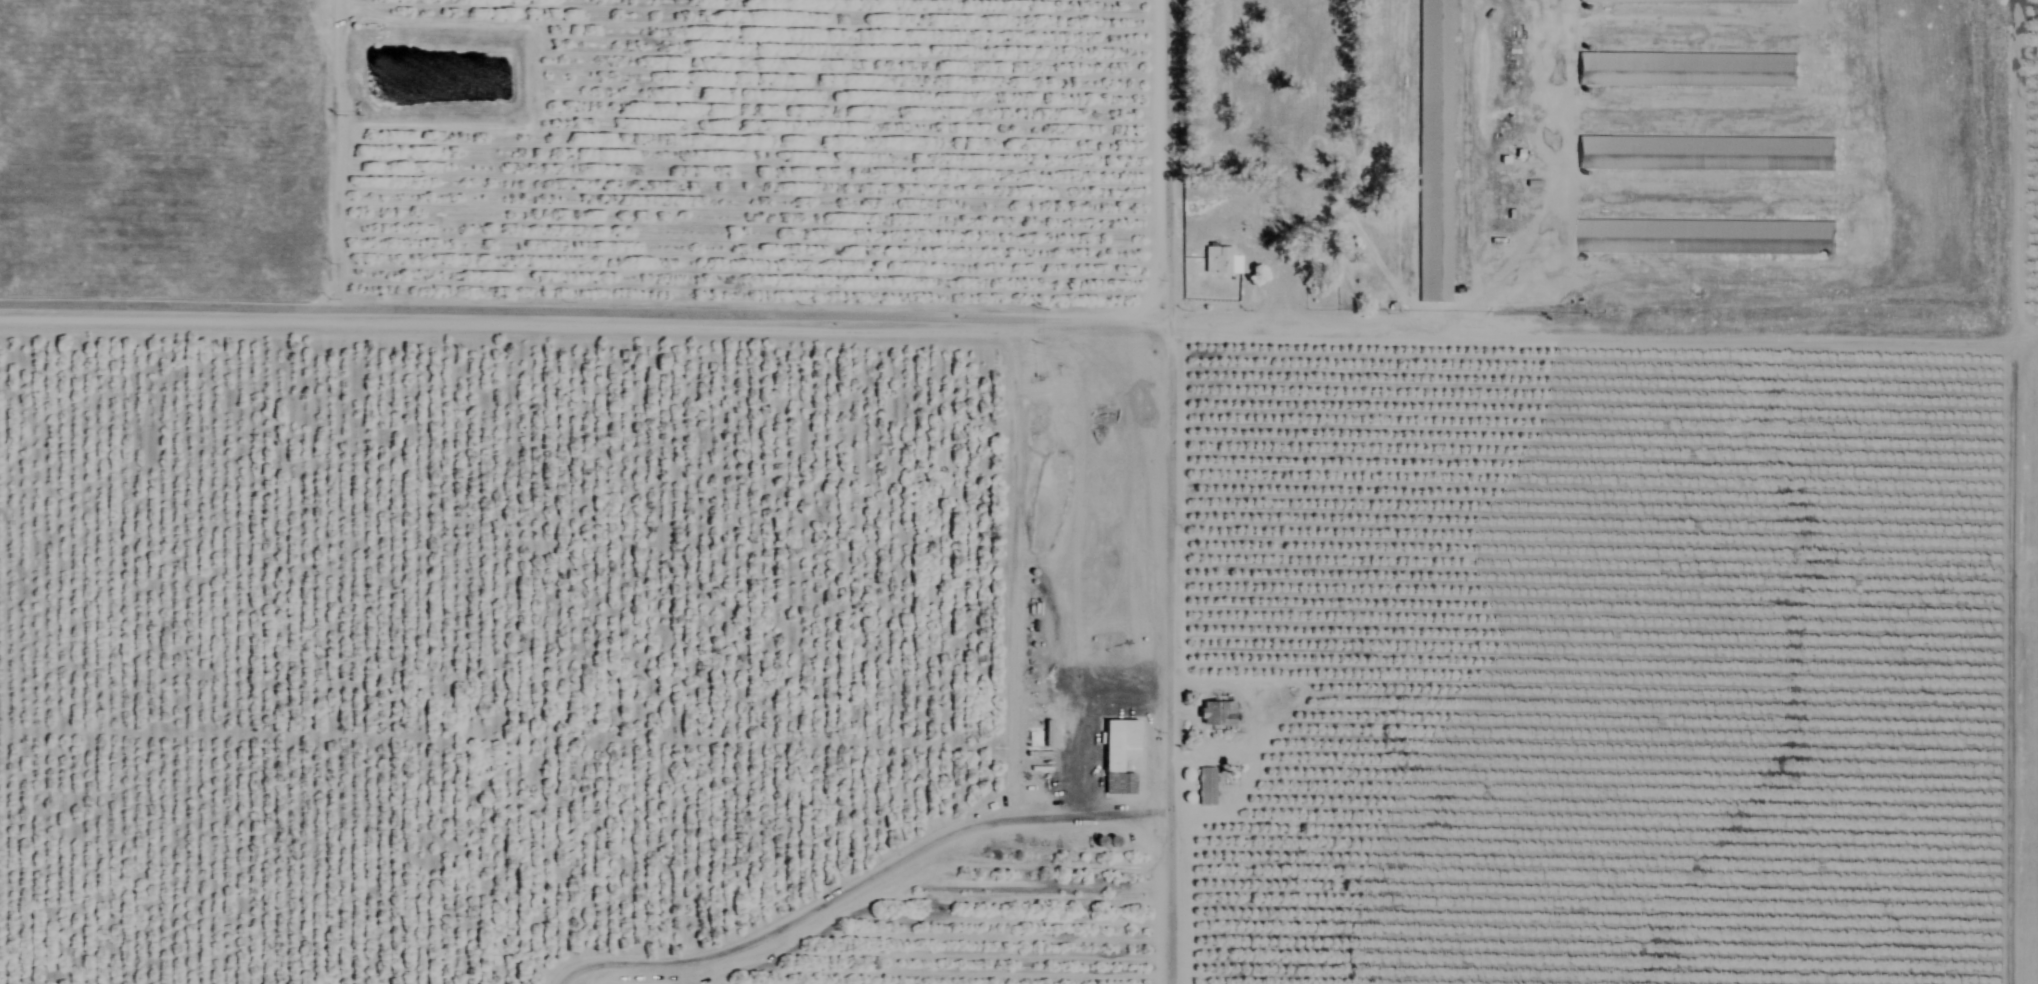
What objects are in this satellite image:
building: (1689, 1)
crop: (2037, 30)
building: (1686, 70)
building: (1435, 151)
building: (1705, 154)
building: (1514, 168)
building: (1266, 213)
building: (1705, 237)
building: (1221, 261)
building: (1278, 284)
road: (790, 326)
road: (1159, 492)
crop: (957, 570)
building: (1216, 714)
building: (1119, 755)
building: (1207, 787)
road: (862, 883)

